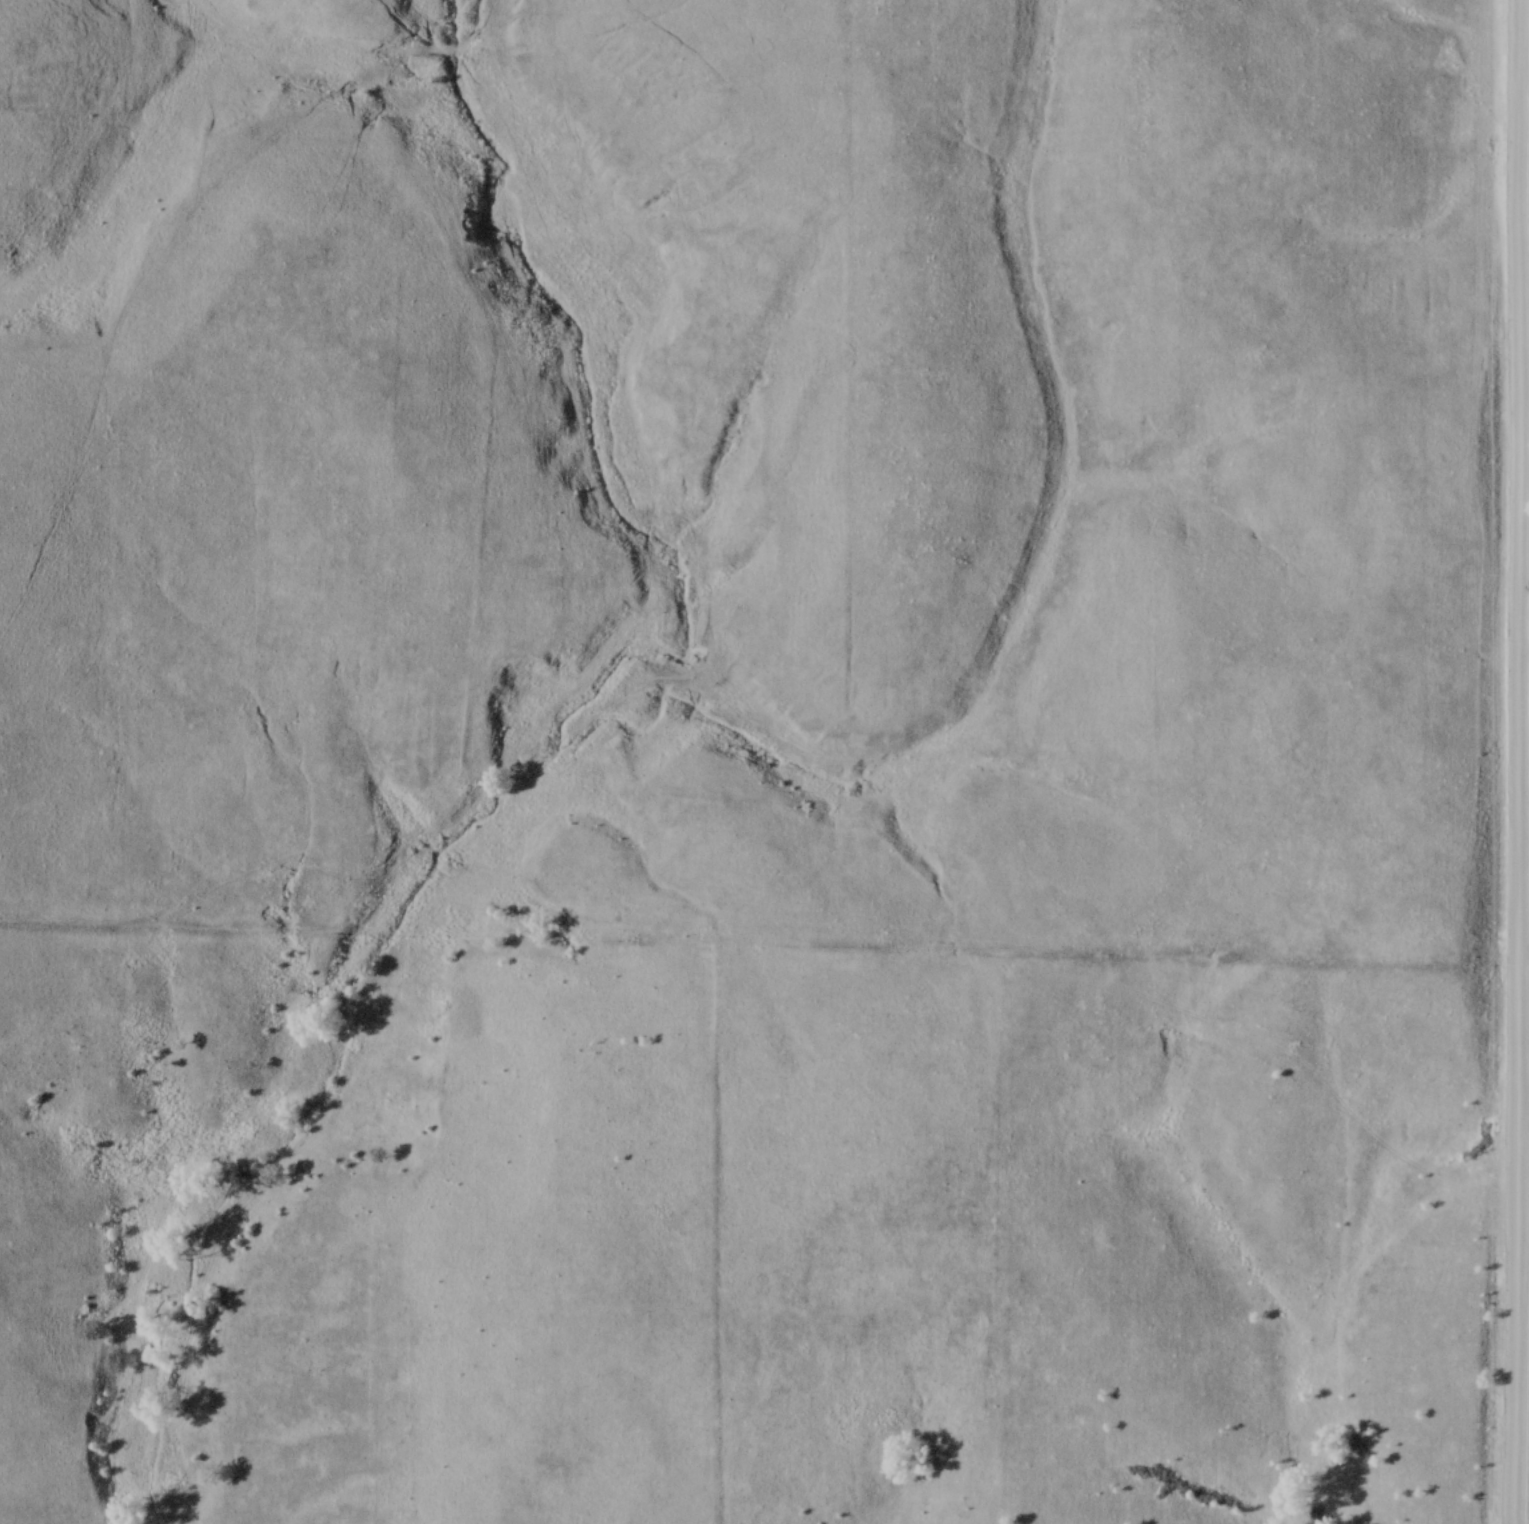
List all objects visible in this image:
road: (1520, 762)
road: (1524, 957)

